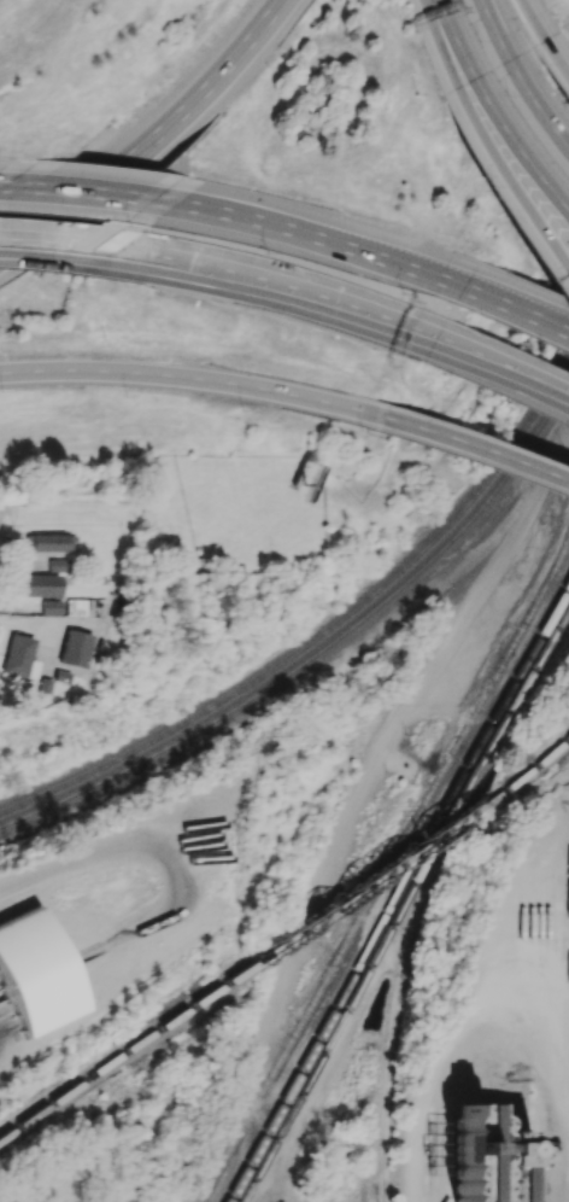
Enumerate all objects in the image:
road: (436, 5)
road: (533, 19)
road: (494, 30)
road: (556, 58)
road: (536, 109)
road: (498, 118)
road: (151, 140)
road: (485, 145)
road: (110, 194)
road: (69, 246)
road: (352, 247)
road: (563, 279)
road: (301, 290)
road: (526, 311)
road: (515, 373)
road: (169, 378)
road: (453, 447)
road: (0, 500)
building: (48, 542)
building: (59, 564)
building: (39, 584)
building: (51, 606)
railway: (315, 643)
building: (76, 648)
building: (19, 657)
railway: (313, 658)
railway: (530, 770)
road: (352, 816)
railway: (385, 874)
railway: (369, 883)
building: (568, 893)
railway: (398, 895)
railway: (405, 909)
railway: (398, 993)
railway: (123, 1054)
road: (453, 1055)
road: (272, 1142)
building: (487, 1157)
railway: (374, 1188)
road: (271, 1200)

